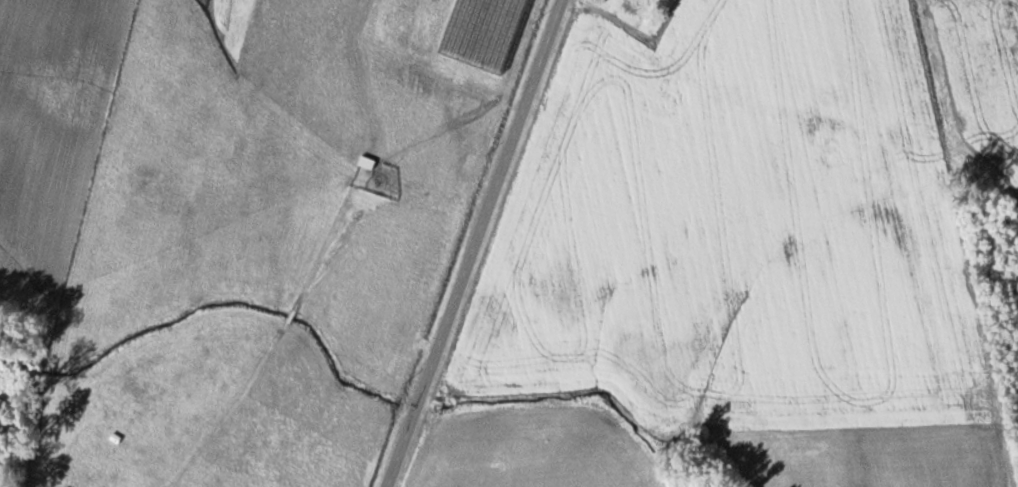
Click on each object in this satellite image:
building: (630, 4)
road: (474, 243)

